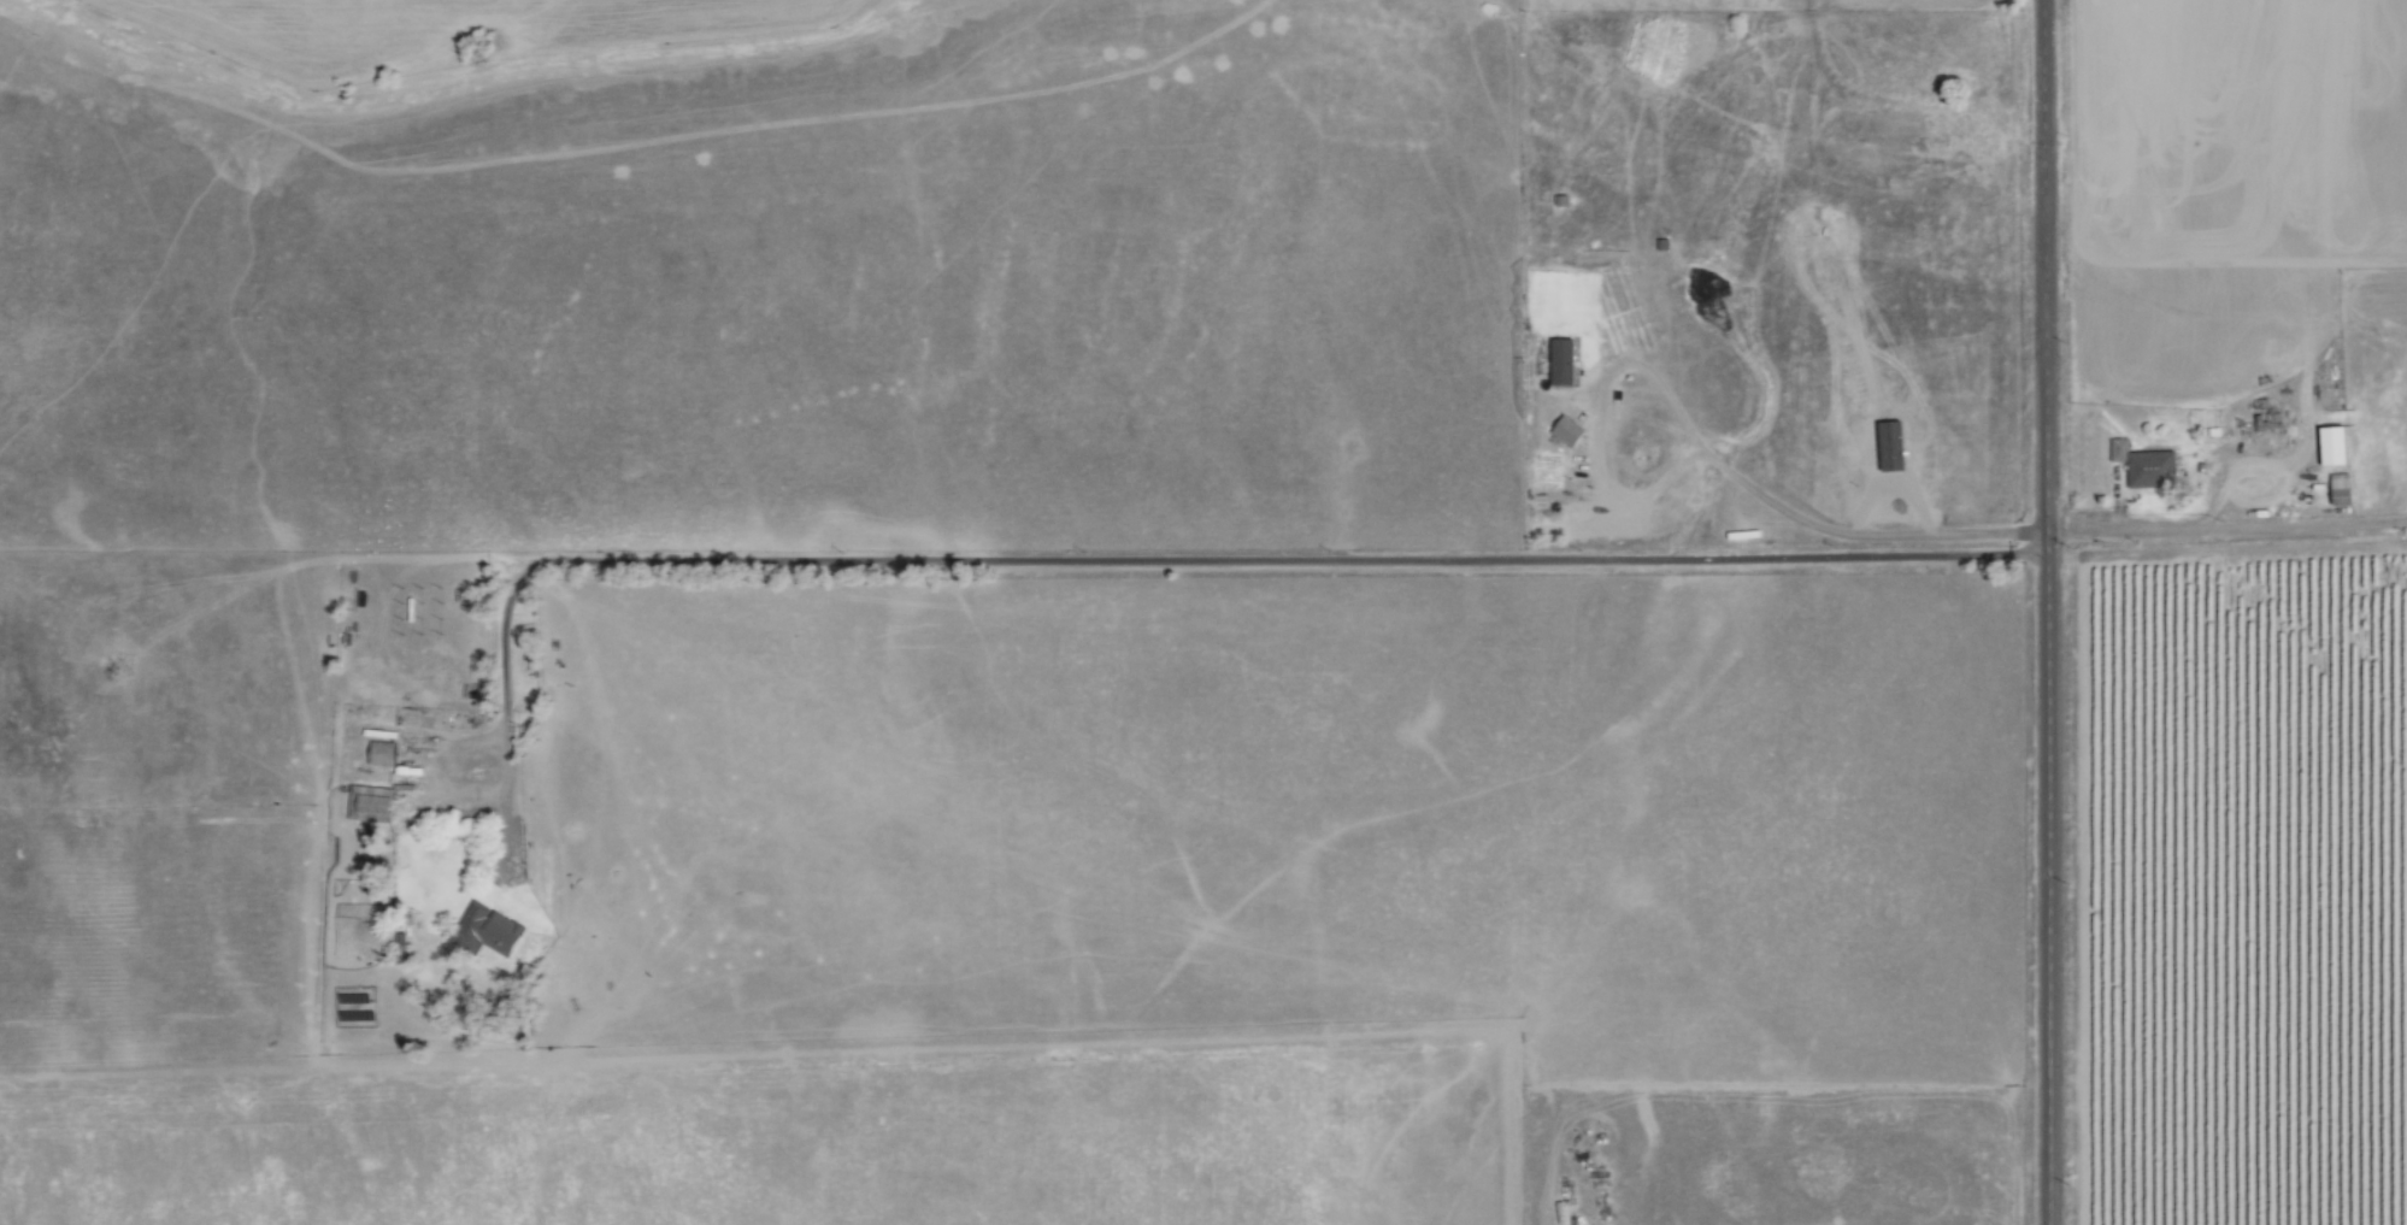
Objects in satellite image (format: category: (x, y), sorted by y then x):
building: (1564, 363)
building: (1570, 432)
building: (2141, 466)
building: (2335, 490)
road: (1340, 558)
road: (2049, 612)
building: (384, 752)
building: (364, 807)
crop: (2243, 891)
building: (493, 930)

